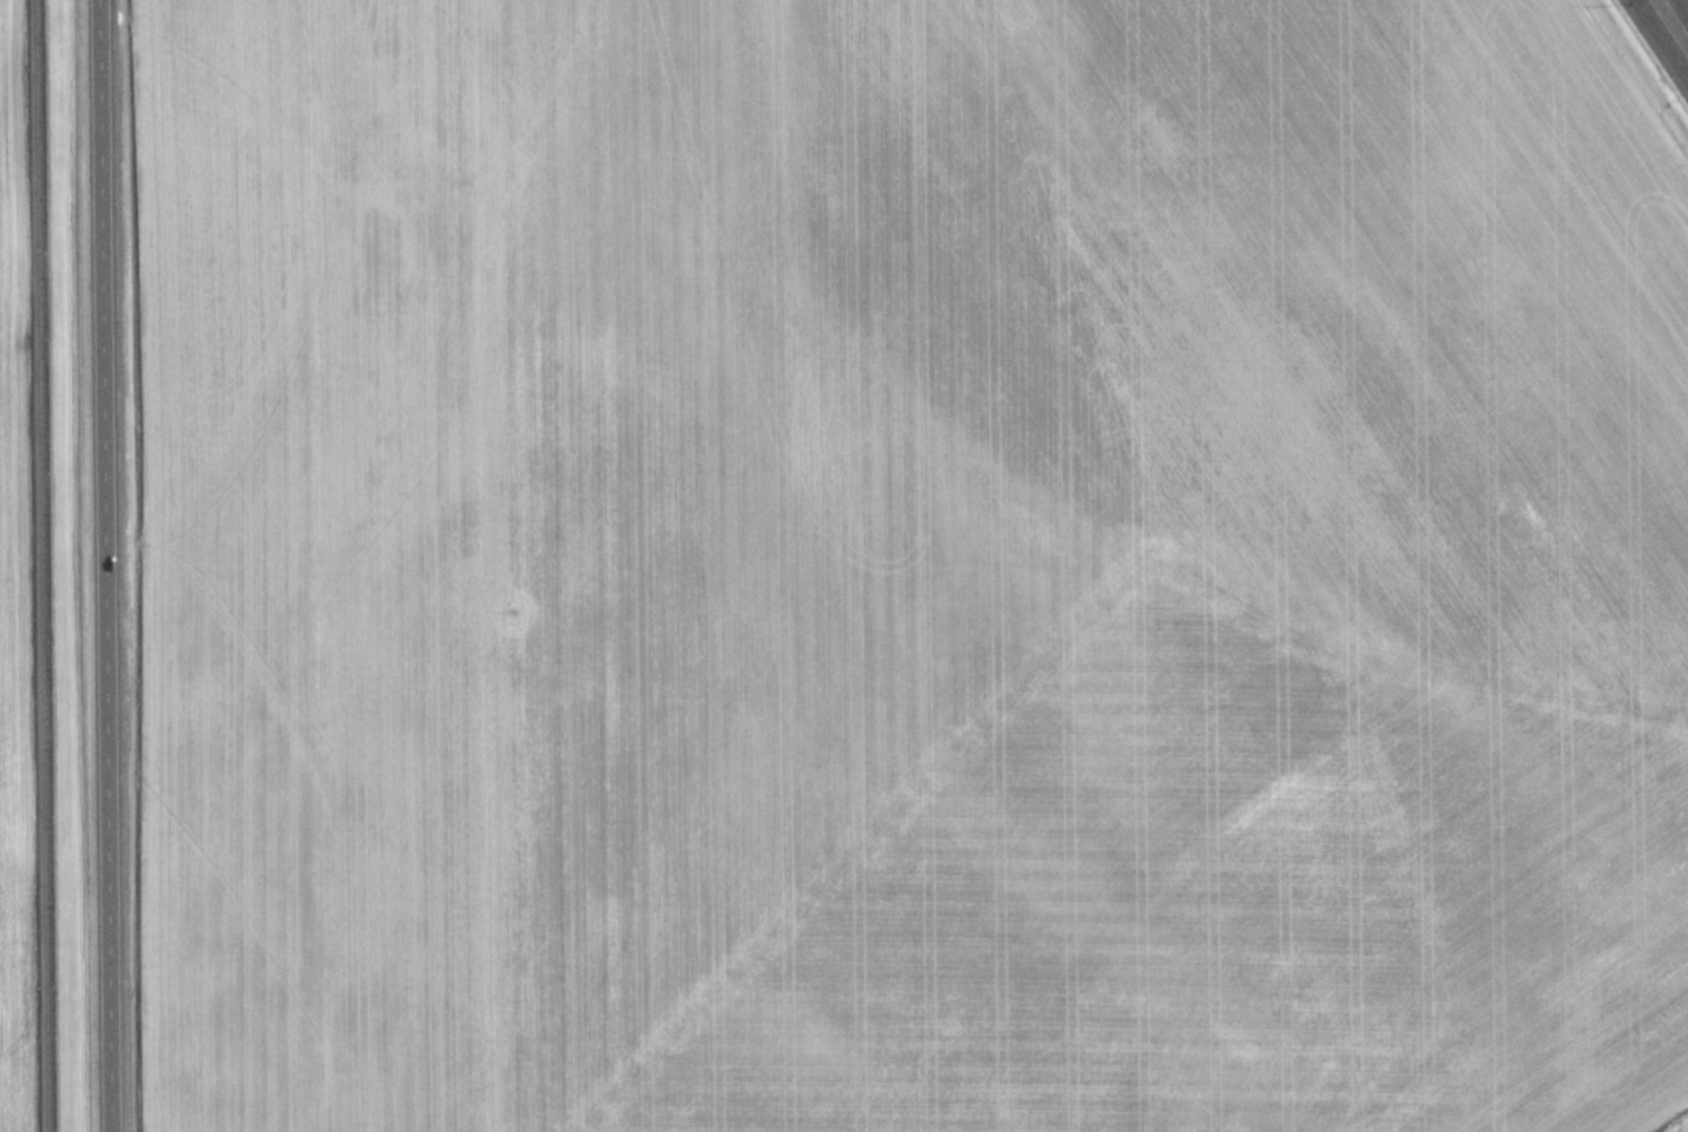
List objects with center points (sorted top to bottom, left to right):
road: (1670, 26)
road: (42, 565)
road: (102, 566)
airport: (250, 567)
crop: (892, 567)
crop: (18, 598)

